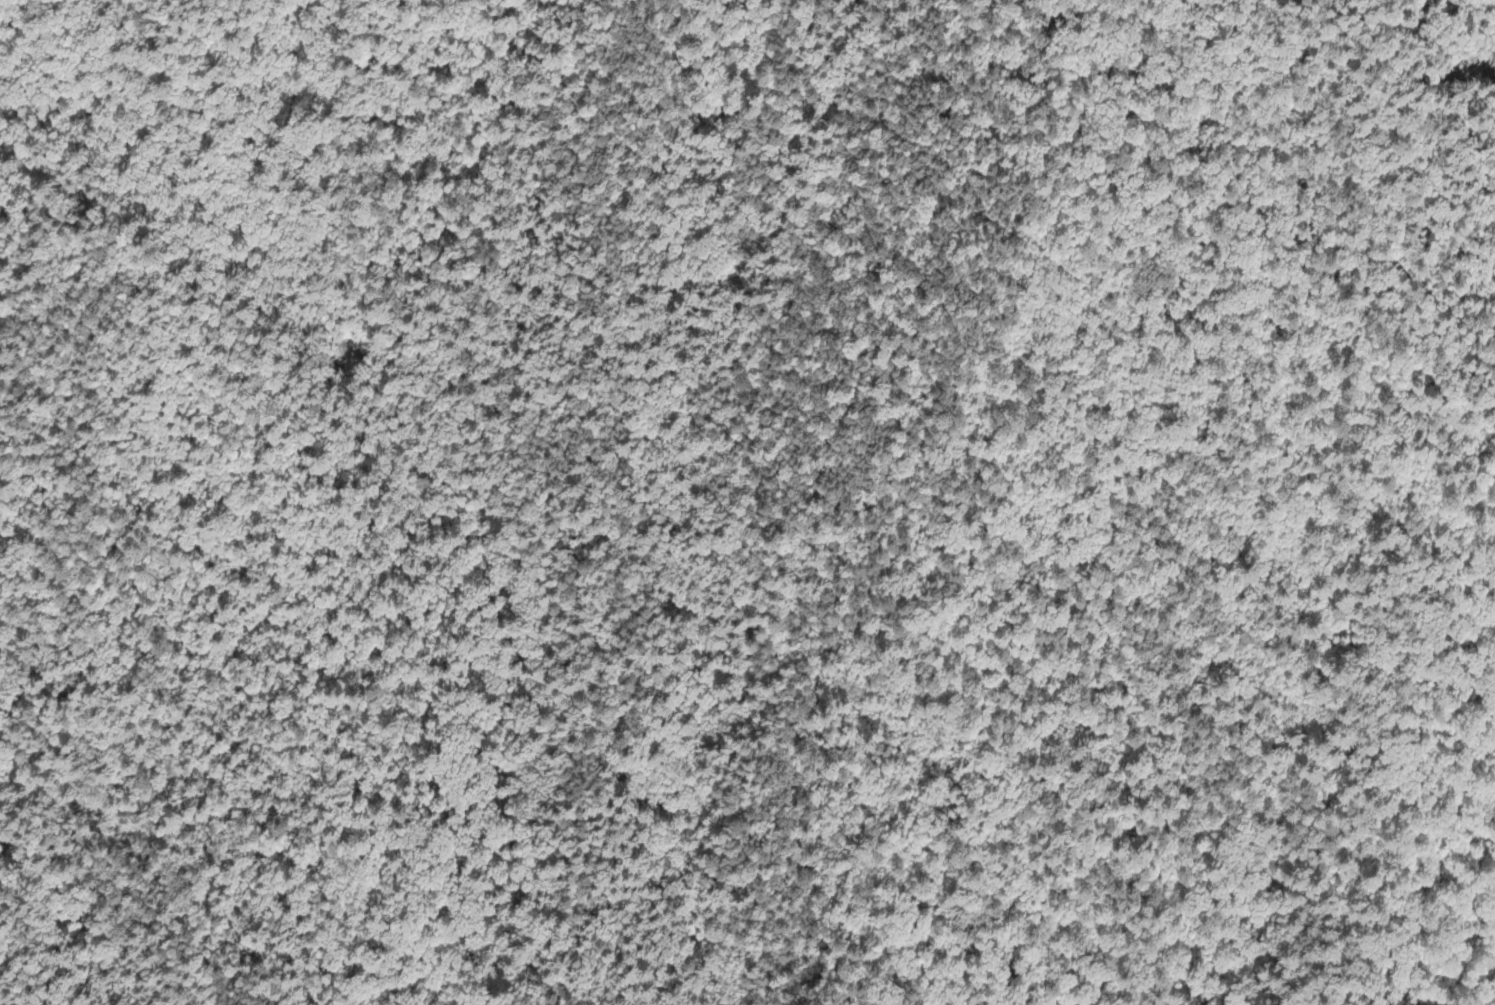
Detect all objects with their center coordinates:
river: (1485, 44)
road: (1230, 247)

